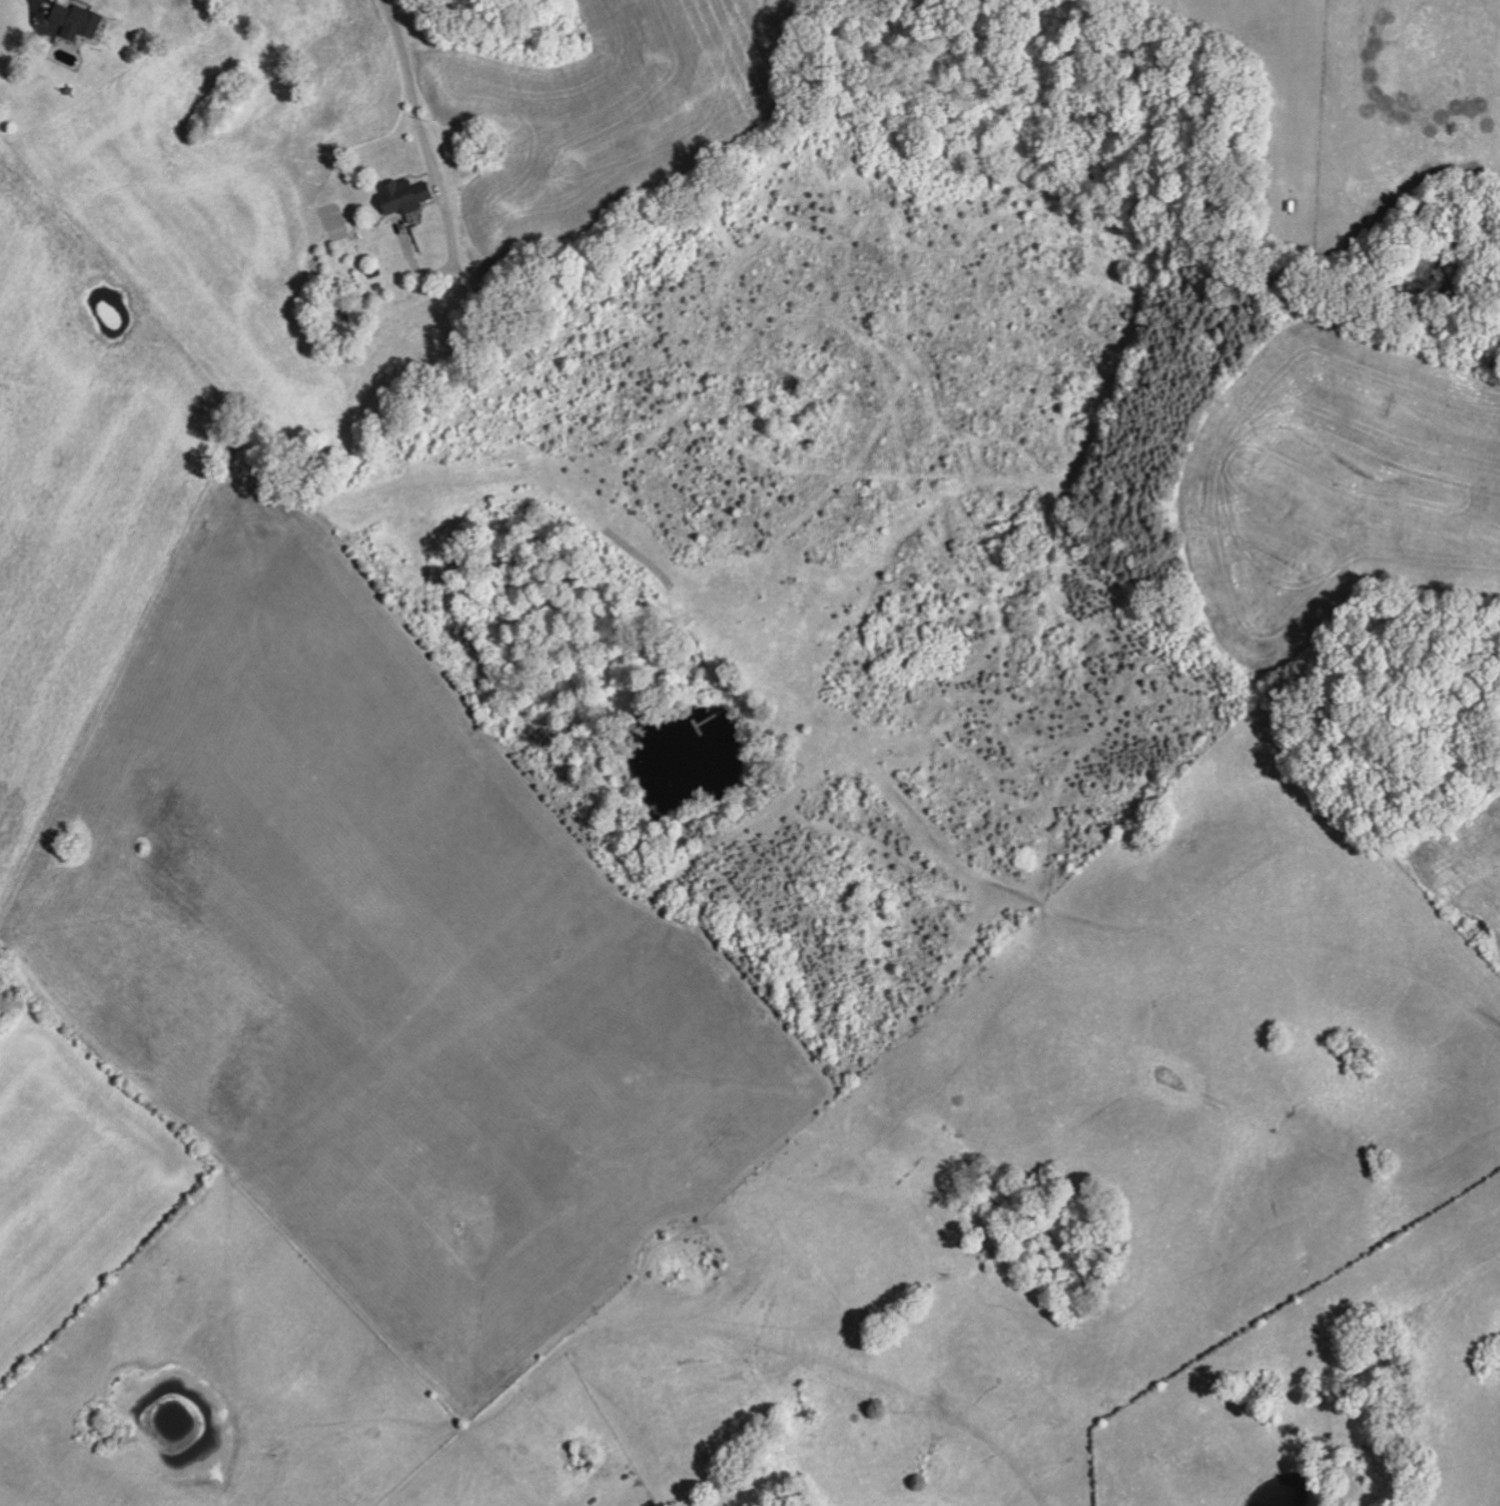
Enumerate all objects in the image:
building: (76, 20)
road: (436, 171)
building: (404, 195)

